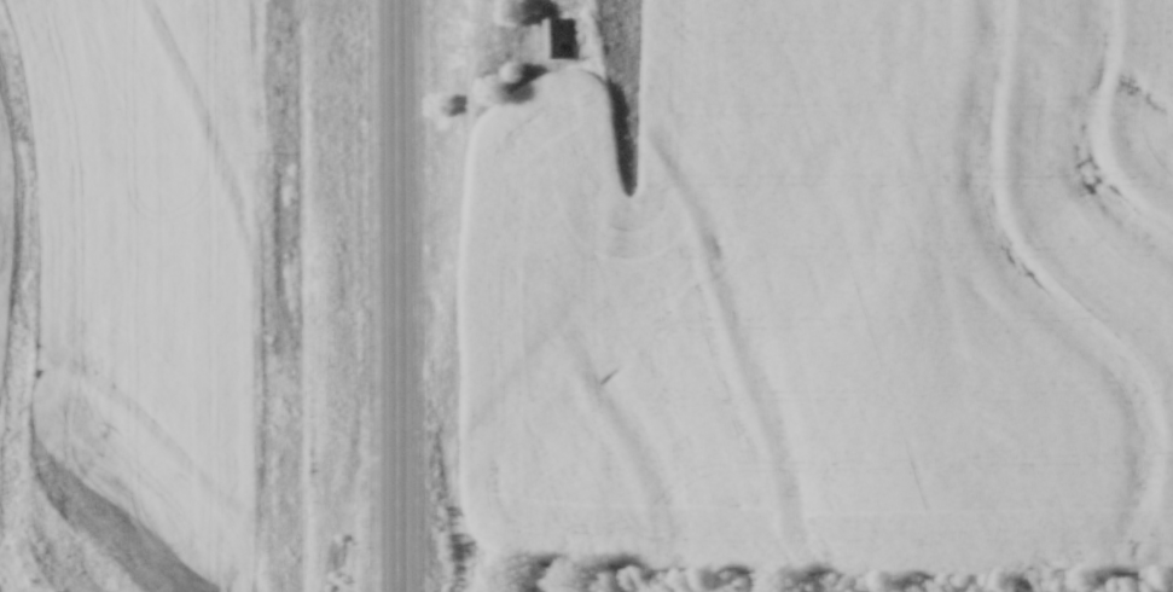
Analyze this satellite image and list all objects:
building: (558, 35)
road: (278, 157)
road: (396, 295)

